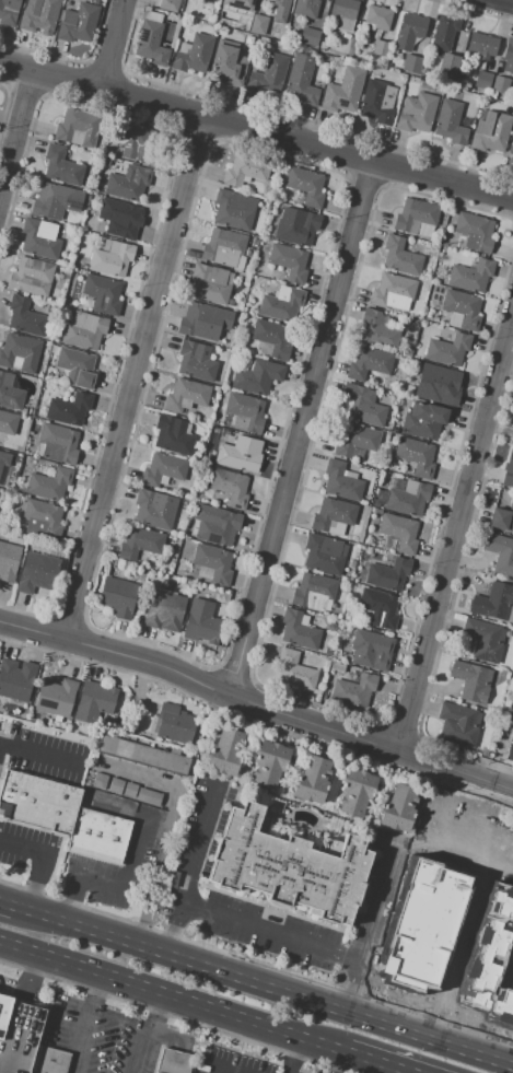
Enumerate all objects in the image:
building: (214, 0)
building: (94, 1)
road: (506, 1)
building: (168, 4)
building: (233, 5)
building: (306, 8)
building: (343, 8)
building: (280, 10)
building: (8, 12)
building: (40, 16)
building: (377, 18)
building: (221, 22)
building: (78, 23)
building: (258, 23)
building: (410, 31)
building: (443, 32)
building: (275, 35)
building: (308, 36)
building: (248, 39)
building: (151, 43)
road: (110, 44)
building: (482, 46)
building: (381, 49)
building: (194, 55)
building: (509, 56)
building: (228, 63)
building: (410, 63)
building: (447, 67)
building: (269, 73)
building: (302, 80)
building: (482, 80)
building: (500, 84)
building: (438, 89)
building: (343, 91)
building: (492, 95)
building: (378, 102)
building: (416, 113)
building: (450, 123)
building: (78, 127)
road: (256, 131)
building: (491, 132)
road: (19, 139)
building: (136, 142)
building: (511, 147)
building: (106, 161)
building: (61, 166)
building: (246, 168)
building: (128, 183)
building: (305, 185)
building: (56, 201)
building: (234, 209)
building: (415, 215)
building: (119, 217)
building: (92, 224)
building: (296, 225)
building: (476, 231)
building: (39, 238)
building: (256, 242)
building: (224, 248)
building: (248, 252)
building: (399, 257)
building: (112, 258)
building: (289, 261)
building: (83, 267)
building: (471, 275)
building: (32, 277)
building: (210, 283)
building: (393, 292)
building: (103, 294)
building: (85, 303)
building: (281, 303)
building: (462, 310)
building: (25, 317)
building: (199, 318)
building: (84, 330)
building: (378, 330)
building: (272, 337)
building: (447, 350)
building: (20, 351)
building: (196, 361)
building: (369, 363)
building: (77, 366)
building: (59, 376)
building: (257, 376)
road: (137, 380)
building: (441, 382)
building: (215, 388)
building: (10, 393)
building: (186, 395)
building: (364, 406)
building: (69, 408)
building: (26, 411)
building: (246, 412)
building: (423, 420)
building: (8, 422)
road: (303, 432)
building: (173, 434)
building: (355, 440)
building: (512, 440)
building: (58, 443)
building: (240, 452)
building: (0, 453)
building: (416, 455)
building: (163, 469)
building: (1, 471)
building: (508, 478)
building: (342, 480)
building: (49, 483)
building: (230, 487)
building: (406, 497)
building: (155, 509)
building: (333, 516)
building: (43, 518)
building: (502, 518)
building: (218, 526)
building: (399, 532)
road: (455, 540)
building: (139, 544)
building: (500, 552)
building: (324, 553)
building: (8, 563)
building: (212, 563)
building: (37, 572)
building: (388, 574)
building: (167, 584)
building: (313, 592)
building: (117, 597)
building: (493, 602)
building: (380, 608)
building: (164, 609)
building: (202, 621)
building: (299, 630)
building: (485, 639)
building: (371, 650)
building: (327, 651)
building: (337, 666)
building: (295, 670)
building: (15, 679)
building: (471, 681)
building: (353, 689)
building: (56, 698)
building: (93, 701)
road: (255, 710)
building: (509, 712)
building: (167, 723)
building: (458, 724)
building: (9, 733)
road: (1, 747)
building: (510, 750)
building: (485, 751)
building: (224, 753)
building: (143, 755)
road: (42, 756)
building: (269, 763)
building: (311, 780)
building: (107, 783)
building: (130, 790)
building: (355, 792)
building: (149, 796)
building: (277, 806)
building: (398, 807)
building: (63, 816)
building: (335, 825)
road: (170, 829)
road: (200, 842)
road: (46, 861)
building: (288, 867)
road: (129, 886)
road: (380, 899)
road: (23, 922)
building: (421, 926)
road: (271, 930)
road: (256, 981)
road: (175, 995)
road: (174, 1016)
road: (124, 1024)
building: (26, 1040)
road: (86, 1043)
road: (143, 1053)
road: (296, 1055)
building: (173, 1062)
road: (382, 1062)
road: (224, 1069)
road: (411, 1072)

